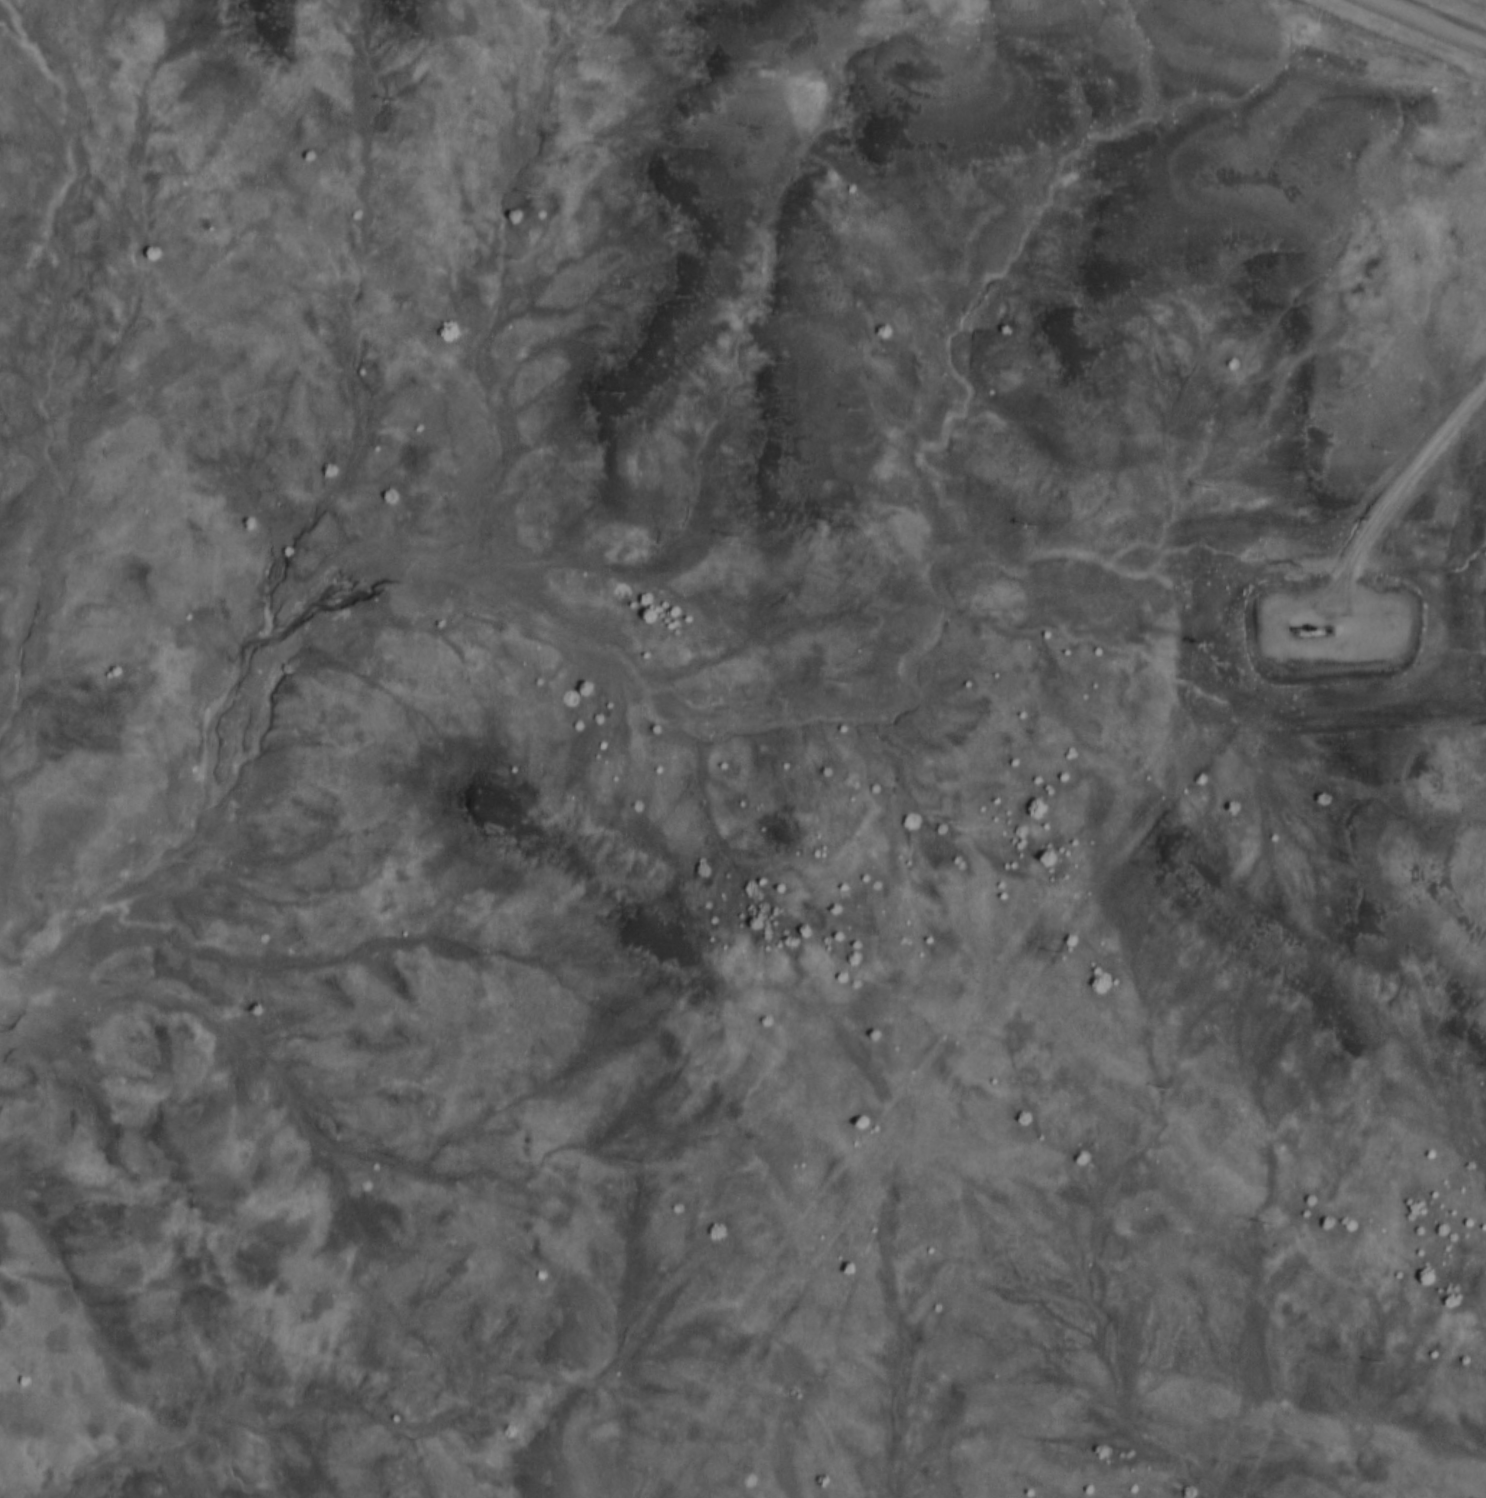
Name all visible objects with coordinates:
road: (1431, 22)
road: (1413, 469)
petroleum well: (1313, 631)
road: (1300, 650)

